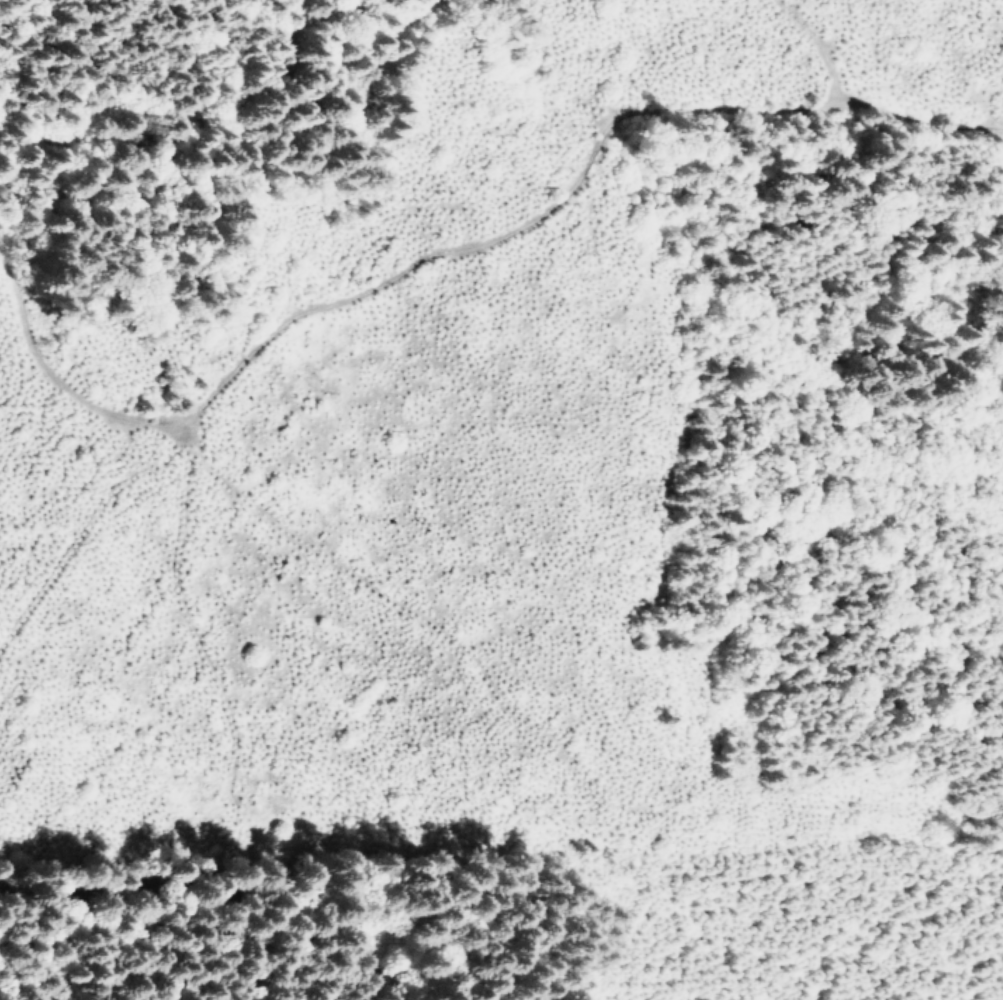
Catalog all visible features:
road: (714, 122)
road: (56, 396)
road: (182, 500)
road: (765, 711)
road: (171, 896)

